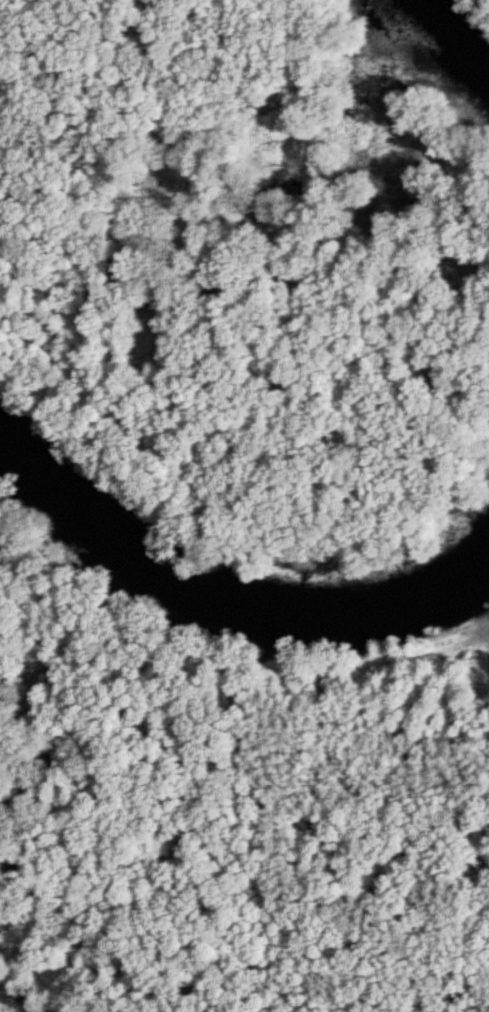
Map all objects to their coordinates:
river: (452, 35)
river: (228, 603)

